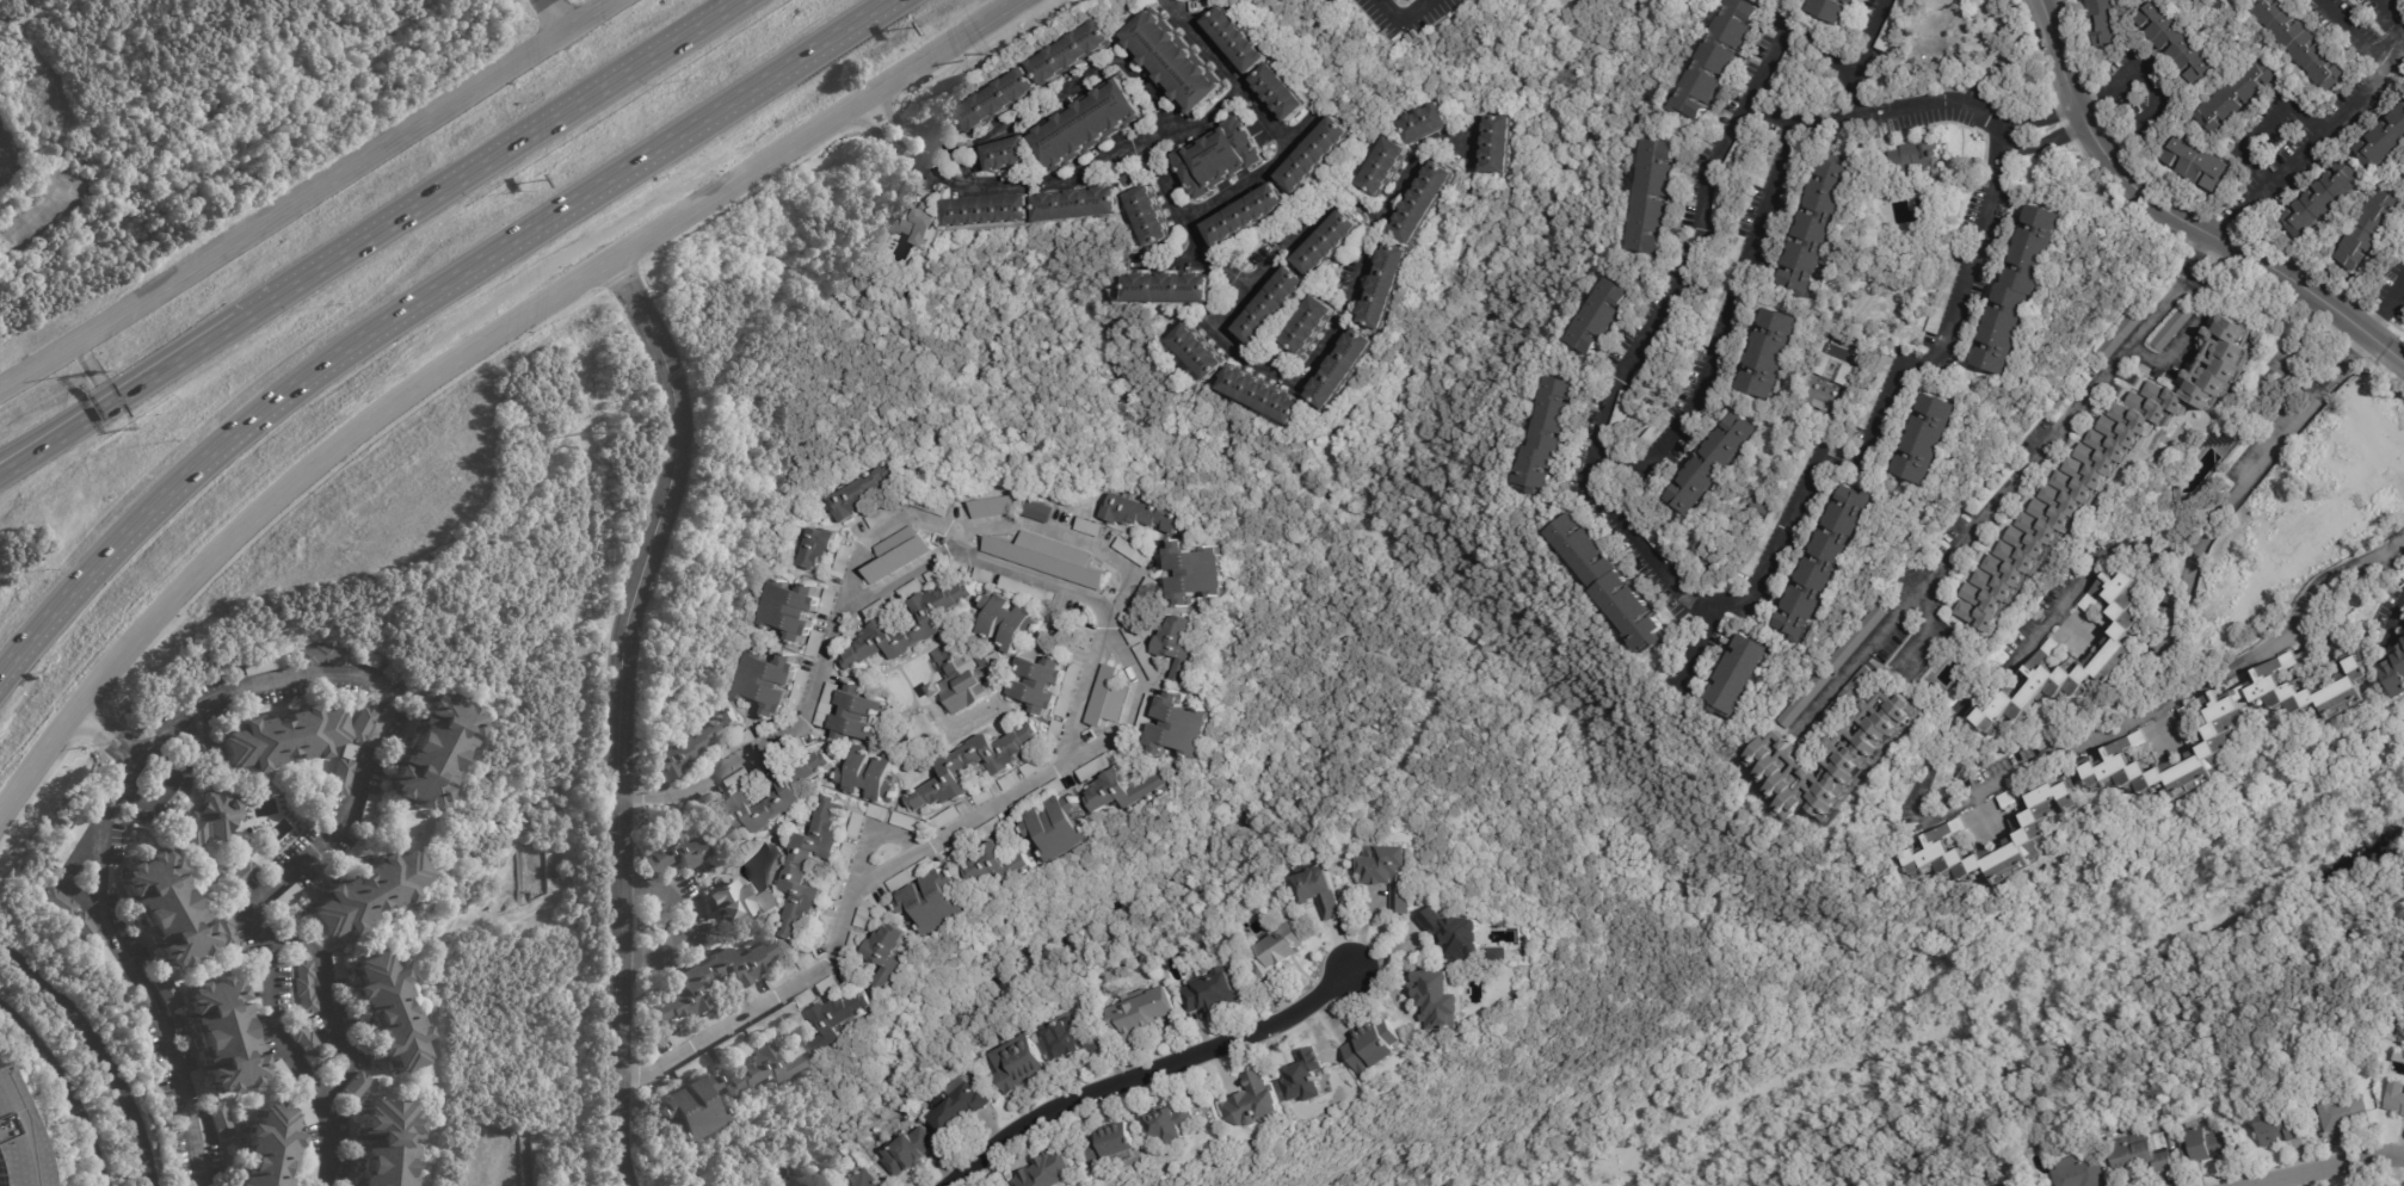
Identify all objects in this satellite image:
building: (2196, 1)
building: (2187, 2)
building: (1835, 10)
road: (556, 17)
road: (1401, 19)
building: (2112, 23)
building: (1897, 25)
road: (2402, 31)
road: (1784, 33)
road: (2354, 35)
building: (1238, 39)
building: (2174, 41)
building: (2295, 43)
building: (1072, 52)
road: (1856, 56)
building: (1720, 58)
building: (1172, 63)
building: (1788, 67)
road: (1235, 80)
road: (2153, 82)
building: (1953, 84)
building: (1282, 92)
building: (2231, 97)
road: (1943, 99)
building: (995, 101)
road: (1164, 110)
road: (2040, 115)
building: (1424, 122)
building: (1089, 124)
road: (2264, 126)
road: (908, 129)
road: (2005, 140)
road: (2048, 140)
building: (2380, 140)
road: (390, 144)
building: (1496, 144)
road: (889, 148)
road: (925, 152)
road: (2306, 152)
building: (1739, 153)
building: (1003, 154)
building: (1317, 155)
building: (1947, 156)
road: (2003, 156)
building: (1219, 159)
road: (495, 160)
building: (1915, 160)
building: (2193, 163)
building: (1382, 167)
road: (1411, 168)
building: (1767, 168)
road: (963, 169)
building: (1128, 180)
road: (1165, 180)
road: (958, 181)
building: (1656, 197)
building: (2318, 199)
building: (1722, 200)
building: (1424, 202)
building: (1078, 205)
road: (692, 209)
building: (990, 211)
road: (2183, 211)
building: (1148, 216)
building: (1245, 216)
building: (1819, 223)
building: (920, 224)
building: (2363, 233)
building: (1327, 243)
road: (2197, 252)
road: (1173, 259)
building: (1385, 286)
building: (1167, 289)
building: (2022, 289)
building: (1725, 291)
road: (1733, 297)
road: (419, 299)
building: (1947, 299)
road: (2385, 302)
building: (1271, 305)
building: (1602, 317)
building: (1307, 326)
building: (1671, 328)
building: (2169, 331)
road: (81, 336)
building: (2118, 336)
building: (1196, 352)
building: (1776, 357)
road: (2343, 358)
road: (2169, 363)
road: (480, 364)
road: (1264, 364)
road: (169, 367)
building: (1340, 367)
building: (1876, 393)
building: (1260, 395)
building: (1623, 412)
building: (1662, 430)
road: (45, 436)
building: (1929, 439)
building: (1547, 440)
road: (45, 444)
building: (1719, 465)
building: (2101, 470)
building: (865, 489)
road: (2217, 502)
road: (1990, 504)
building: (993, 507)
building: (1780, 509)
building: (1037, 511)
building: (888, 512)
building: (1141, 514)
road: (884, 529)
road: (1068, 538)
road: (2145, 543)
building: (1663, 545)
building: (815, 546)
building: (1132, 551)
building: (898, 554)
building: (1713, 556)
building: (842, 558)
road: (1650, 558)
building: (1042, 561)
building: (1830, 563)
building: (1192, 573)
building: (1609, 582)
road: (167, 599)
building: (879, 607)
building: (789, 610)
road: (2393, 616)
building: (1007, 618)
road: (1927, 622)
building: (910, 626)
building: (2334, 632)
building: (1857, 638)
building: (2403, 638)
road: (1702, 641)
building: (1175, 644)
building: (2115, 648)
building: (321, 655)
building: (365, 660)
road: (1097, 661)
building: (263, 665)
building: (386, 672)
building: (1669, 673)
building: (2394, 673)
building: (1742, 677)
road: (621, 678)
building: (963, 678)
building: (766, 681)
building: (1037, 684)
building: (1107, 697)
building: (1806, 699)
road: (1132, 706)
building: (856, 715)
road: (378, 721)
building: (359, 724)
building: (2223, 725)
building: (1176, 727)
building: (278, 736)
road: (135, 743)
building: (1857, 745)
building: (690, 746)
building: (199, 749)
building: (430, 749)
building: (347, 750)
road: (161, 755)
building: (818, 765)
building: (973, 766)
building: (1029, 768)
road: (2033, 770)
building: (340, 776)
building: (870, 776)
park: (1275, 778)
building: (1009, 780)
building: (1121, 791)
road: (645, 792)
building: (2010, 797)
building: (368, 807)
building: (759, 809)
building: (210, 816)
building: (945, 819)
building: (1059, 827)
road: (871, 834)
building: (1942, 836)
building: (66, 842)
building: (671, 852)
building: (993, 866)
building: (810, 869)
building: (1389, 872)
building: (240, 873)
building: (911, 875)
road: (2377, 891)
building: (1324, 892)
building: (364, 894)
building: (289, 896)
building: (768, 901)
building: (931, 901)
building: (57, 902)
building: (733, 902)
building: (166, 908)
road: (689, 920)
building: (294, 921)
building: (86, 929)
road: (1960, 931)
building: (229, 935)
building: (1456, 935)
building: (1280, 952)
building: (886, 953)
building: (1498, 956)
building: (339, 965)
building: (115, 971)
building: (781, 976)
building: (254, 977)
building: (708, 980)
building: (307, 987)
road: (143, 990)
building: (166, 992)
building: (1212, 992)
building: (1441, 1000)
road: (327, 1005)
building: (389, 1013)
building: (1144, 1015)
building: (838, 1019)
road: (2107, 1021)
building: (223, 1034)
building: (1072, 1039)
building: (306, 1044)
road: (282, 1046)
building: (1374, 1046)
road: (104, 1048)
building: (1018, 1064)
road: (640, 1070)
building: (759, 1070)
road: (1147, 1070)
building: (282, 1073)
building: (1307, 1077)
building: (197, 1083)
road: (68, 1086)
building: (353, 1089)
building: (2396, 1098)
building: (1256, 1102)
building: (690, 1106)
building: (961, 1108)
building: (2346, 1108)
building: (306, 1112)
building: (221, 1120)
building: (1172, 1124)
building: (2279, 1126)
building: (386, 1142)
building: (14, 1143)
building: (1115, 1144)
building: (2209, 1145)
building: (267, 1148)
building: (908, 1153)
road: (629, 1154)
building: (2140, 1156)
building: (310, 1167)
road: (2328, 1167)
building: (1056, 1170)
building: (2082, 1173)
building: (862, 1178)
building: (2017, 1182)
building: (824, 1184)

